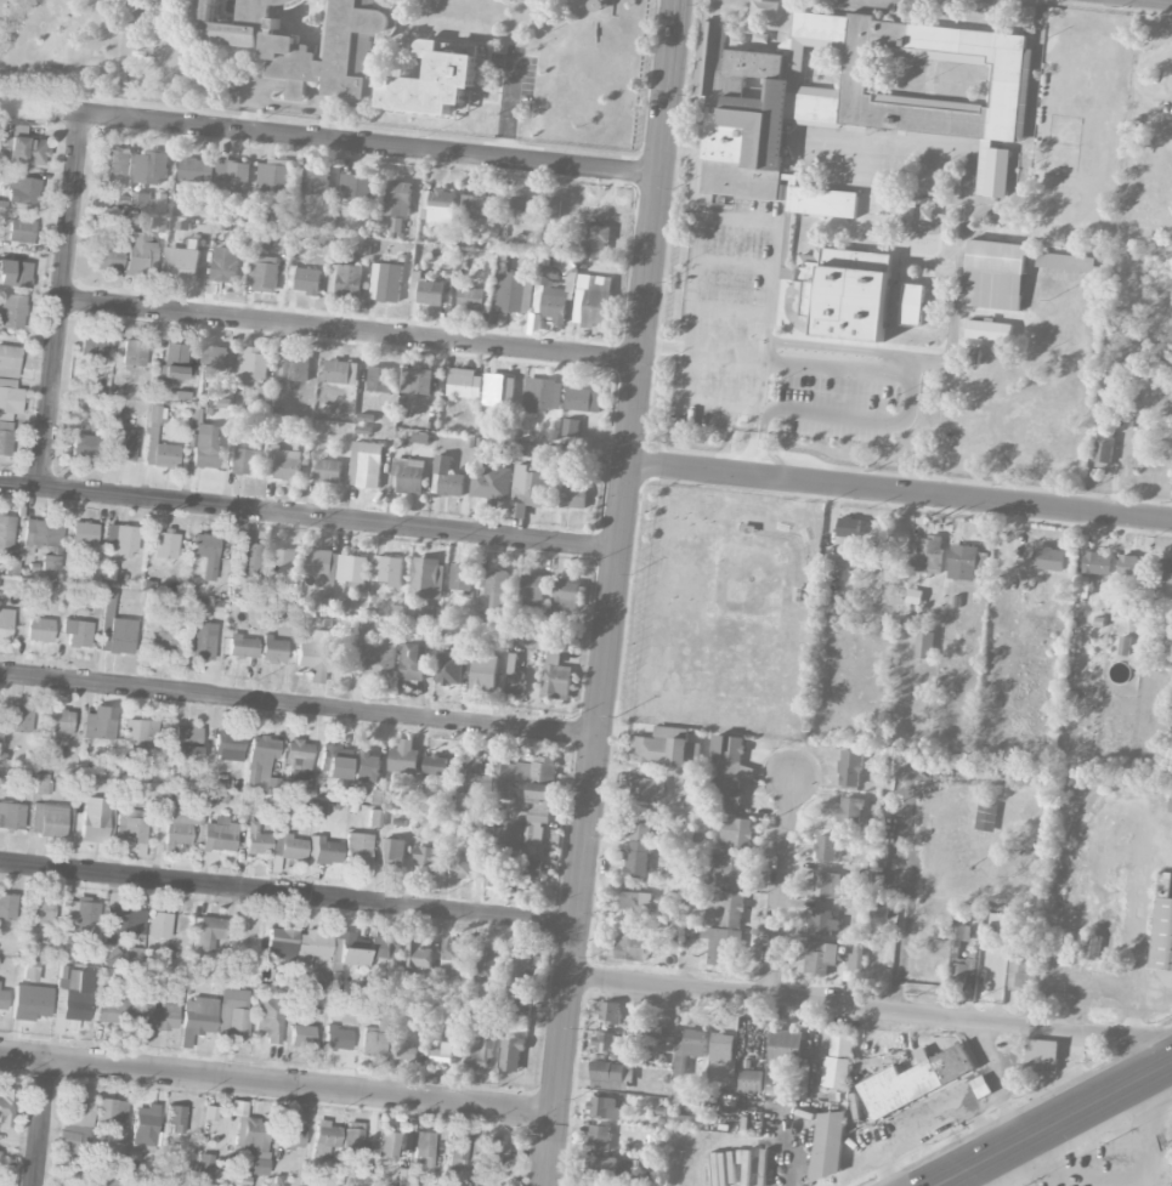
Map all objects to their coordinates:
building: (304, 39)
road: (125, 58)
building: (435, 83)
road: (285, 84)
building: (860, 84)
road: (361, 141)
building: (114, 161)
building: (151, 168)
building: (197, 170)
building: (993, 172)
building: (272, 175)
building: (233, 176)
building: (316, 182)
building: (744, 182)
building: (356, 187)
building: (22, 191)
building: (397, 198)
building: (822, 202)
building: (438, 206)
building: (479, 208)
building: (553, 208)
building: (523, 210)
road: (757, 220)
road: (963, 227)
building: (19, 232)
building: (590, 242)
building: (138, 255)
building: (107, 259)
building: (1065, 262)
building: (181, 263)
building: (225, 265)
building: (262, 272)
building: (15, 274)
building: (993, 276)
building: (307, 280)
building: (345, 280)
building: (385, 282)
building: (511, 291)
building: (431, 293)
building: (844, 294)
building: (471, 299)
building: (590, 299)
road: (63, 300)
building: (553, 302)
building: (912, 303)
building: (12, 312)
building: (989, 330)
road: (351, 331)
building: (95, 345)
building: (214, 357)
road: (777, 358)
road: (924, 359)
building: (9, 362)
building: (174, 363)
building: (253, 365)
building: (294, 368)
building: (341, 371)
building: (379, 379)
building: (417, 381)
road: (764, 382)
building: (464, 384)
building: (499, 390)
building: (542, 395)
building: (9, 399)
building: (583, 399)
building: (154, 415)
road: (854, 418)
building: (572, 427)
road: (754, 429)
road: (761, 430)
building: (5, 443)
building: (83, 447)
building: (123, 447)
building: (205, 447)
building: (1103, 449)
building: (164, 456)
building: (247, 458)
road: (757, 463)
building: (287, 464)
building: (366, 465)
building: (328, 471)
building: (409, 476)
building: (448, 477)
building: (491, 482)
road: (900, 490)
building: (527, 492)
building: (574, 496)
road: (310, 516)
building: (849, 522)
building: (5, 532)
building: (83, 534)
building: (40, 535)
building: (120, 541)
building: (165, 546)
building: (205, 554)
building: (924, 554)
building: (1048, 558)
building: (249, 561)
building: (282, 561)
building: (966, 562)
building: (47, 563)
building: (1097, 563)
building: (339, 566)
building: (1131, 567)
building: (389, 569)
building: (1167, 571)
building: (428, 578)
building: (462, 578)
building: (497, 588)
building: (533, 590)
road: (615, 592)
building: (566, 595)
building: (913, 596)
building: (430, 612)
building: (5, 624)
building: (38, 630)
building: (1171, 630)
building: (77, 634)
building: (200, 641)
building: (162, 642)
building: (924, 645)
building: (1123, 646)
building: (242, 647)
building: (376, 649)
building: (272, 651)
building: (312, 656)
building: (413, 662)
building: (451, 666)
building: (485, 673)
building: (555, 676)
building: (514, 680)
road: (300, 704)
building: (1171, 705)
building: (18, 720)
building: (58, 722)
building: (100, 723)
building: (140, 737)
building: (187, 743)
building: (227, 747)
building: (666, 750)
building: (261, 751)
building: (729, 755)
building: (403, 757)
building: (298, 760)
building: (335, 762)
building: (436, 766)
building: (367, 767)
building: (850, 768)
building: (41, 784)
building: (647, 789)
building: (475, 791)
building: (531, 794)
building: (172, 795)
building: (726, 796)
building: (374, 798)
building: (412, 802)
building: (1170, 806)
building: (850, 810)
building: (11, 816)
building: (94, 818)
building: (374, 819)
building: (47, 821)
building: (182, 823)
building: (131, 827)
building: (640, 828)
building: (736, 834)
building: (219, 836)
building: (255, 840)
building: (287, 847)
building: (826, 847)
building: (357, 850)
building: (327, 852)
building: (391, 853)
building: (428, 858)
building: (636, 861)
building: (460, 866)
building: (729, 872)
building: (531, 873)
building: (864, 874)
building: (498, 875)
road: (782, 884)
building: (826, 885)
road: (289, 893)
road: (910, 897)
building: (635, 904)
building: (7, 907)
building: (725, 908)
building: (876, 909)
building: (40, 910)
building: (80, 918)
building: (823, 921)
building: (121, 923)
building: (158, 926)
building: (959, 932)
building: (206, 934)
building: (987, 935)
building: (1161, 935)
building: (281, 940)
building: (633, 947)
building: (310, 948)
building: (725, 948)
building: (347, 949)
building: (384, 949)
building: (451, 953)
building: (820, 957)
building: (418, 958)
building: (855, 960)
building: (488, 967)
building: (962, 969)
building: (29, 974)
building: (1019, 974)
building: (523, 975)
building: (335, 981)
building: (72, 995)
building: (2, 1000)
building: (30, 1003)
road: (872, 1008)
building: (610, 1012)
building: (232, 1014)
building: (154, 1017)
building: (196, 1018)
building: (270, 1020)
building: (376, 1031)
building: (300, 1037)
building: (338, 1039)
building: (612, 1043)
building: (842, 1045)
building: (482, 1046)
building: (721, 1048)
building: (788, 1048)
building: (404, 1049)
building: (687, 1049)
building: (511, 1052)
building: (442, 1055)
building: (1040, 1055)
building: (836, 1072)
building: (751, 1080)
building: (915, 1080)
road: (278, 1084)
building: (6, 1107)
building: (604, 1107)
building: (109, 1113)
building: (174, 1119)
building: (676, 1120)
road: (43, 1124)
building: (143, 1125)
road: (1055, 1125)
building: (293, 1136)
building: (599, 1136)
building: (352, 1139)
building: (323, 1140)
building: (256, 1144)
building: (828, 1145)
building: (386, 1146)
building: (423, 1150)
building: (493, 1151)
building: (455, 1153)
building: (602, 1164)
building: (771, 1168)
building: (203, 1169)
building: (103, 1182)
road: (944, 1185)

